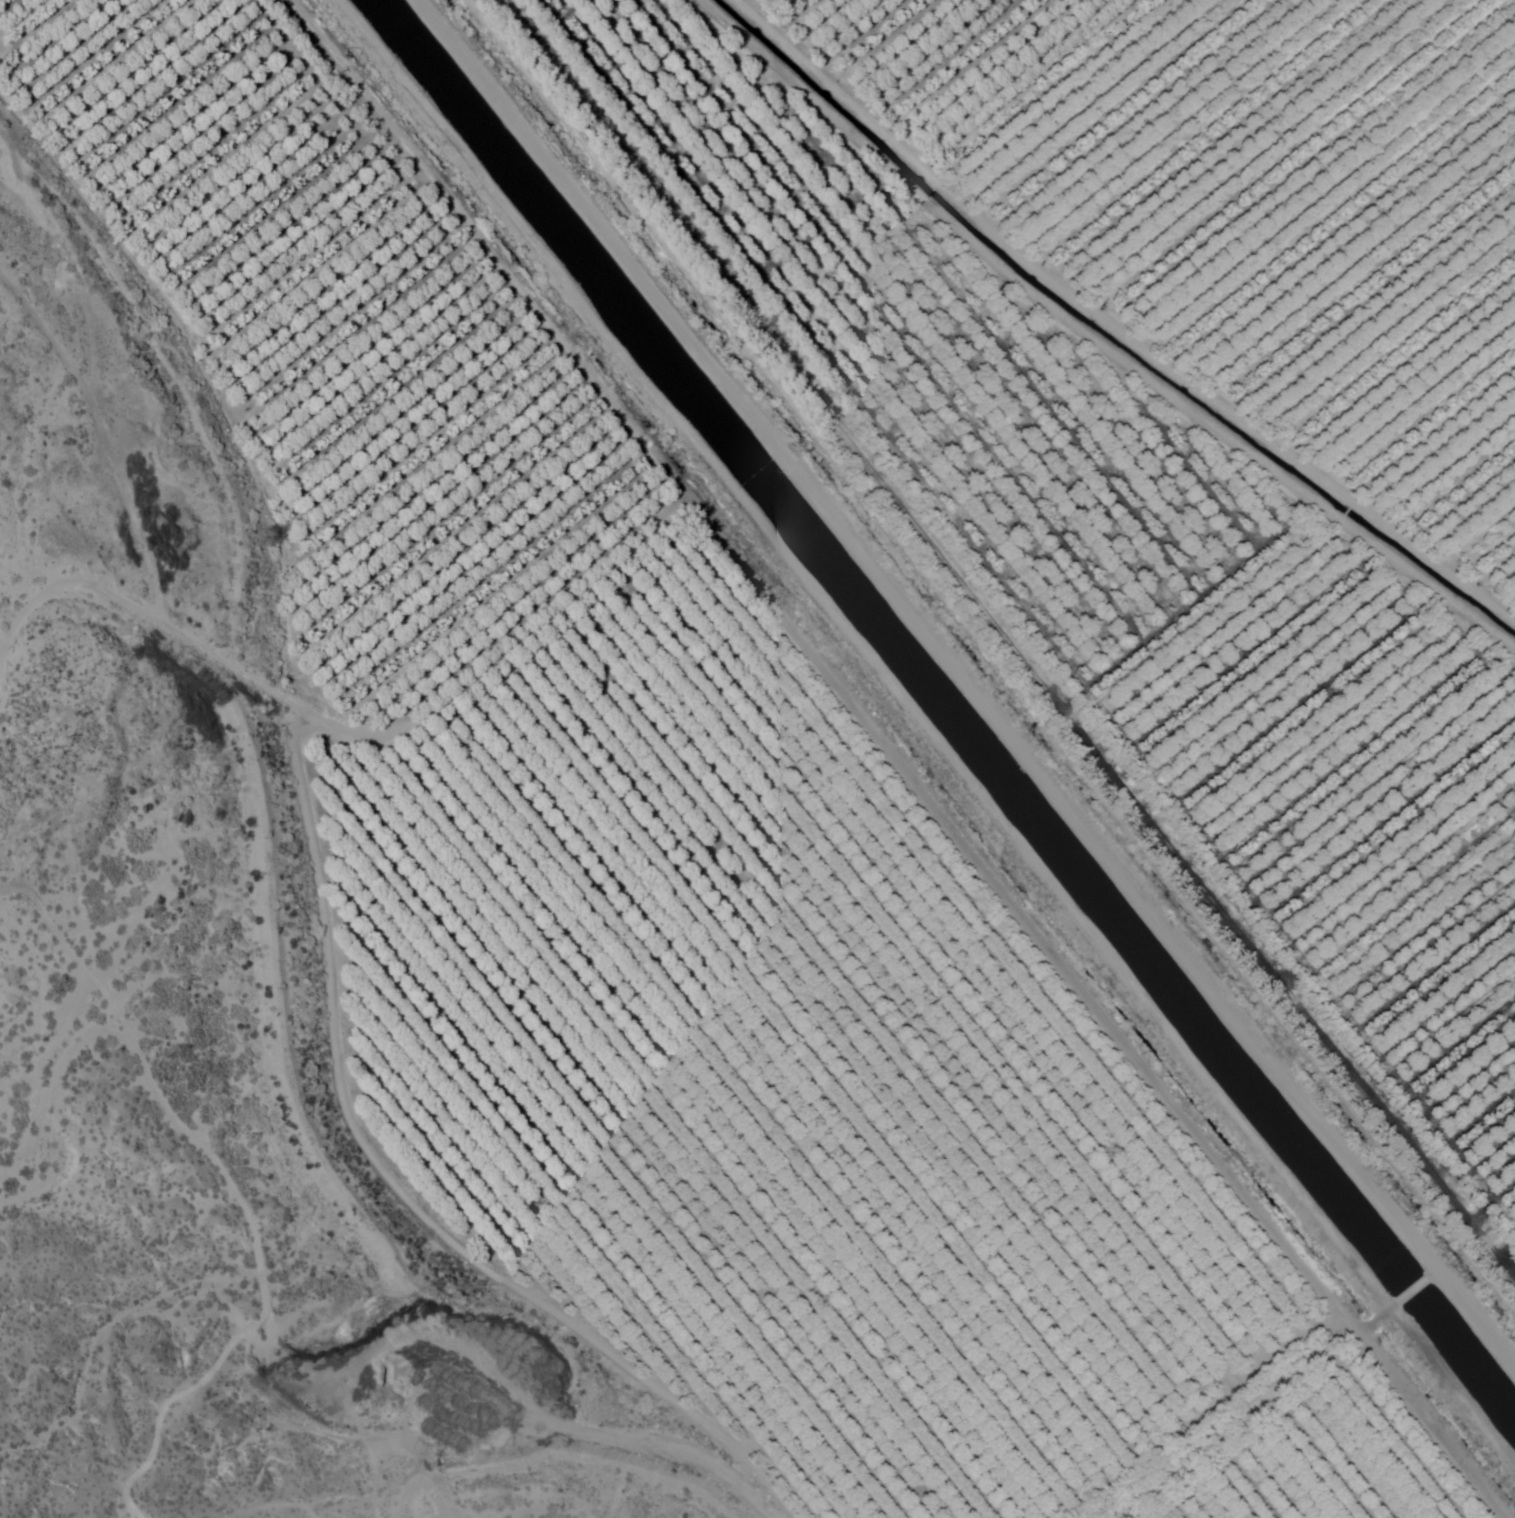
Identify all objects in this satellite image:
road: (1111, 329)
road: (968, 681)
road: (928, 733)
road: (907, 756)

